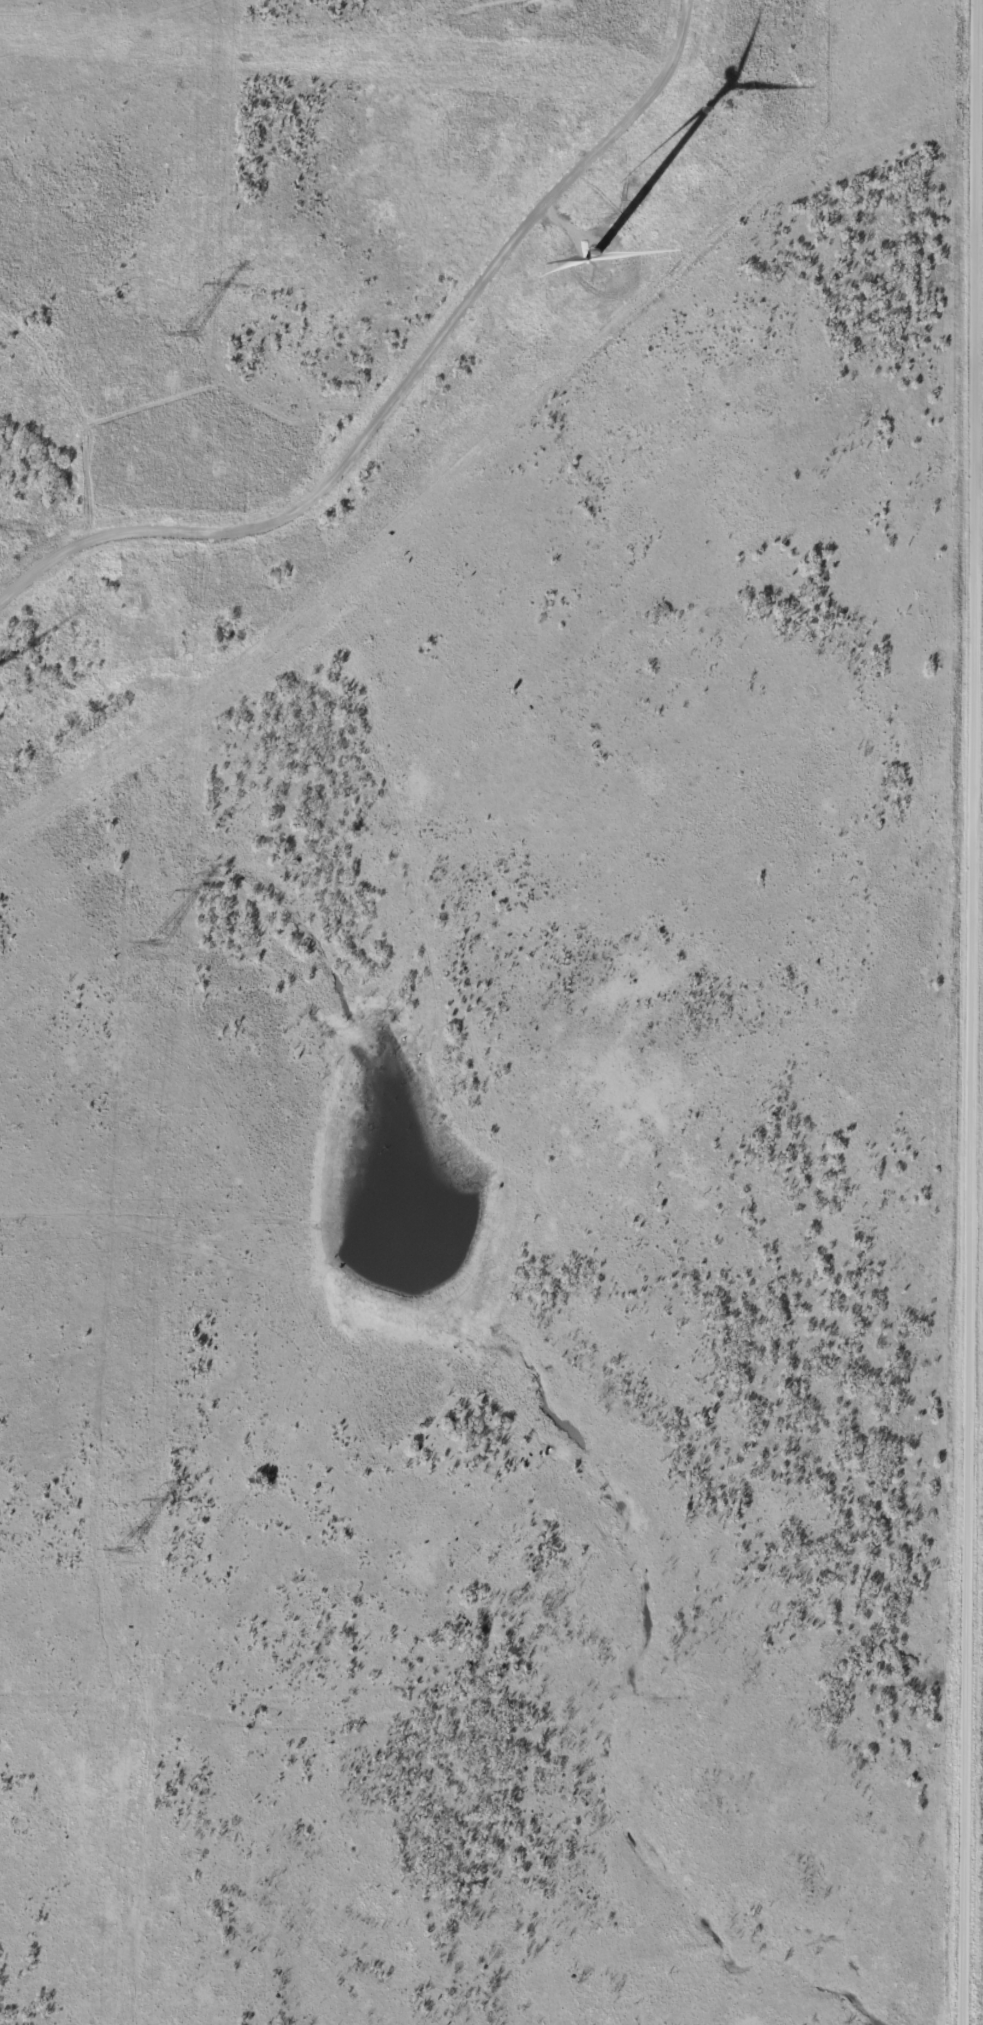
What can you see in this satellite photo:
road: (982, 57)
wind turbine: (596, 255)
power tower: (186, 332)
power tower: (156, 942)
road: (973, 1166)
power tower: (125, 1546)

